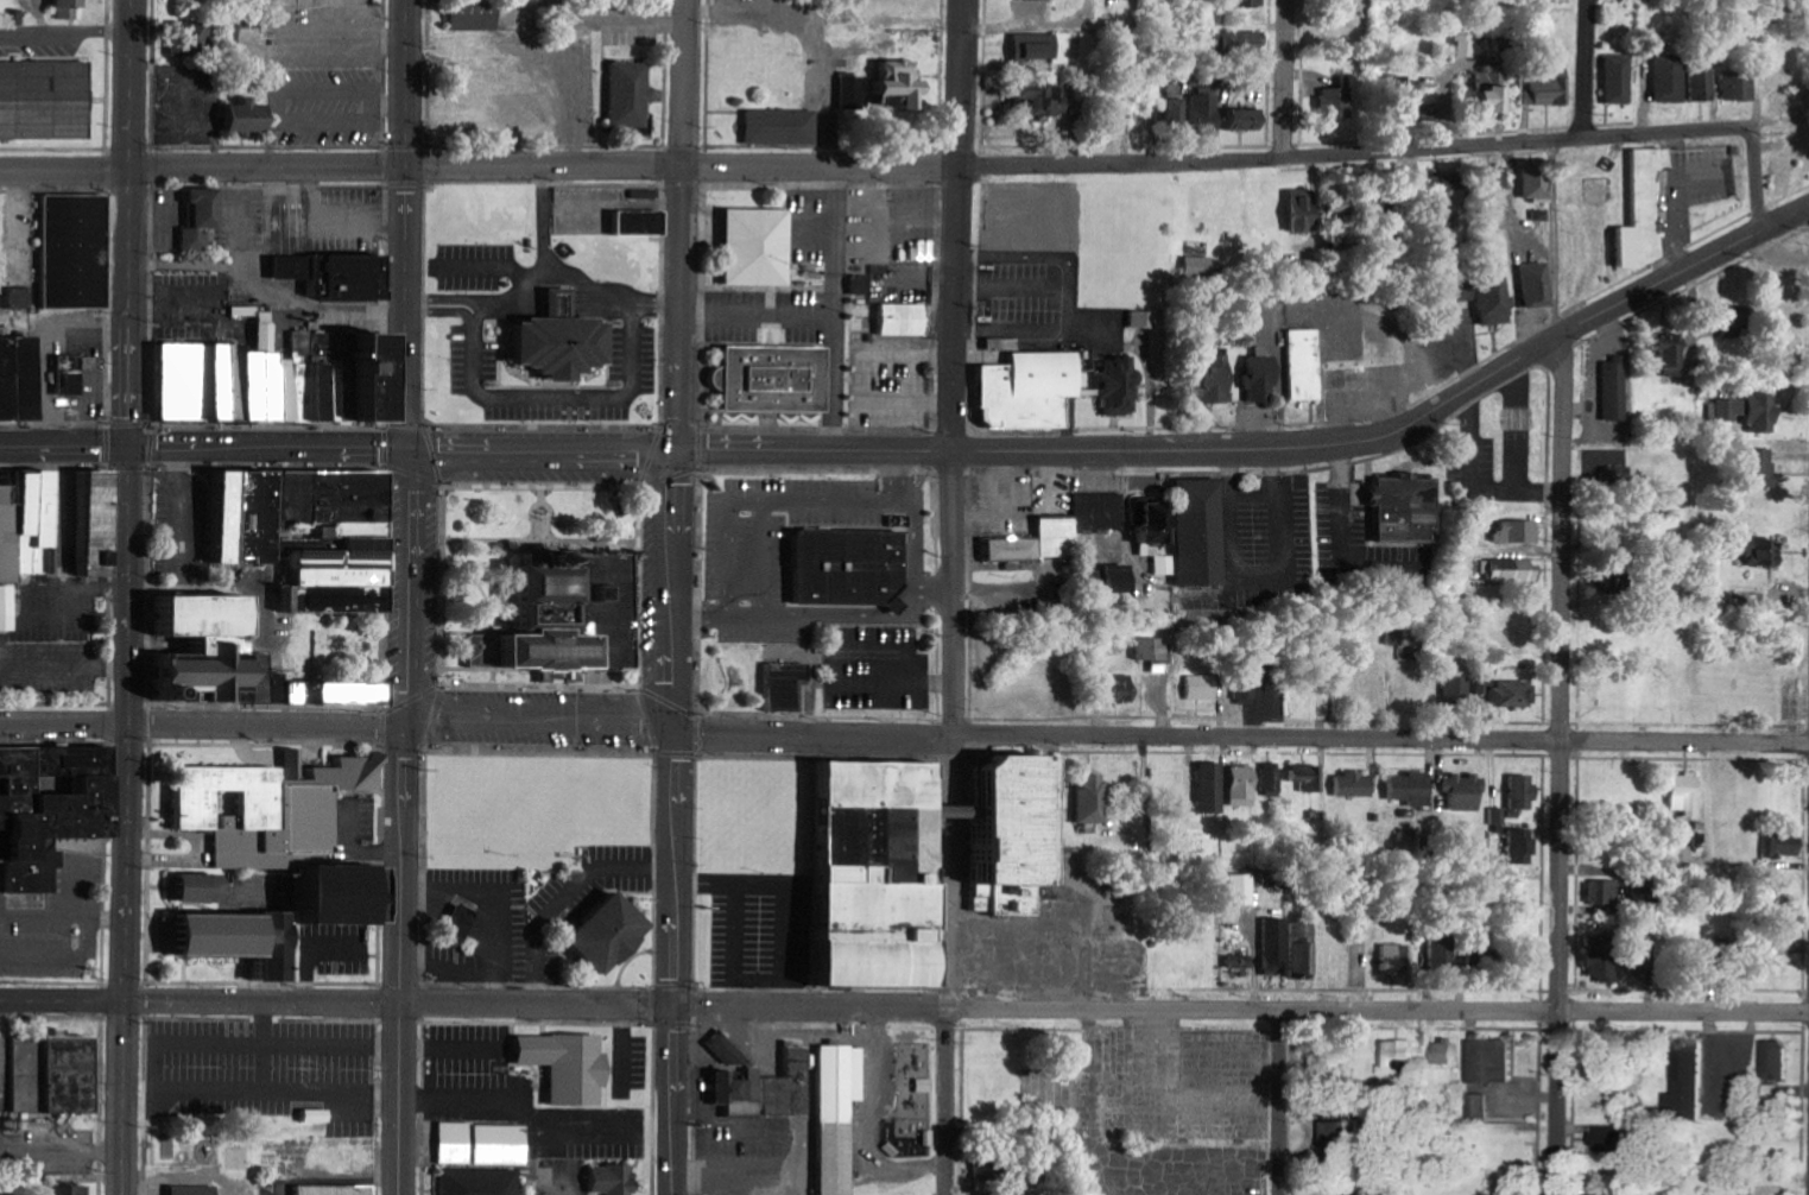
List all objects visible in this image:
building: (1546, 1)
building: (297, 4)
building: (69, 8)
building: (477, 14)
building: (190, 40)
building: (1245, 43)
building: (1036, 48)
road: (1588, 67)
road: (1285, 77)
building: (1670, 80)
building: (1619, 81)
building: (900, 86)
building: (1702, 86)
building: (1738, 88)
building: (852, 91)
building: (1551, 91)
building: (1494, 93)
building: (632, 95)
building: (1044, 100)
building: (44, 101)
building: (1339, 101)
building: (1792, 105)
building: (1207, 109)
building: (1177, 112)
building: (249, 119)
building: (1248, 120)
building: (782, 127)
building: (1805, 153)
road: (1082, 159)
road: (204, 169)
building: (1785, 170)
road: (1757, 177)
building: (1537, 184)
building: (1453, 198)
building: (1307, 211)
building: (1642, 213)
building: (198, 217)
road: (132, 223)
road: (409, 223)
road: (689, 223)
building: (643, 225)
road: (956, 225)
road: (1555, 235)
building: (755, 245)
building: (71, 249)
building: (1200, 267)
building: (331, 273)
building: (1536, 286)
building: (24, 298)
building: (1488, 298)
building: (905, 320)
building: (1143, 321)
building: (556, 344)
building: (1670, 354)
building: (1304, 366)
building: (67, 374)
gas station: (67, 374)
building: (771, 375)
building: (14, 378)
building: (1215, 378)
building: (271, 380)
building: (1260, 380)
building: (1120, 387)
building: (1032, 392)
building: (1615, 392)
building: (1750, 412)
road: (268, 444)
road: (64, 445)
road: (542, 448)
road: (1272, 451)
building: (1761, 469)
building: (1405, 508)
building: (239, 518)
building: (23, 523)
building: (1080, 523)
building: (91, 524)
building: (1189, 530)
building: (1519, 531)
building: (329, 542)
building: (1014, 548)
building: (1760, 552)
building: (1162, 564)
building: (852, 567)
building: (1514, 570)
building: (1118, 578)
building: (7, 607)
building: (568, 613)
building: (1393, 637)
building: (221, 649)
building: (1410, 651)
building: (1155, 653)
building: (788, 685)
building: (1201, 687)
building: (1122, 689)
building: (1246, 690)
building: (1457, 690)
building: (339, 691)
building: (1506, 691)
road: (202, 722)
road: (125, 723)
road: (1105, 733)
road: (1564, 764)
building: (1273, 778)
building: (1349, 784)
building: (1311, 785)
building: (1244, 786)
building: (1214, 788)
building: (1413, 789)
building: (1463, 792)
building: (1523, 792)
building: (1689, 795)
building: (1094, 798)
building: (52, 807)
building: (271, 808)
building: (1498, 816)
road: (404, 821)
road: (676, 821)
road: (950, 822)
building: (1522, 847)
building: (1786, 847)
building: (885, 873)
building: (176, 887)
building: (201, 889)
building: (1244, 890)
building: (1607, 892)
building: (341, 893)
building: (462, 922)
building: (613, 934)
building: (245, 940)
building: (1276, 947)
building: (1303, 950)
building: (1444, 953)
building: (1489, 956)
building: (1604, 959)
building: (1242, 960)
building: (1398, 960)
building: (1643, 965)
road: (265, 1000)
road: (62, 1001)
road: (1107, 1006)
building: (728, 1051)
building: (1446, 1054)
building: (1402, 1057)
building: (1777, 1060)
building: (1491, 1061)
building: (570, 1066)
building: (55, 1074)
building: (770, 1089)
building: (1690, 1093)
road: (121, 1098)
road: (1279, 1101)
building: (1476, 1106)
building: (841, 1114)
building: (1347, 1137)
building: (1617, 1139)
building: (485, 1144)
building: (988, 1170)
building: (614, 1180)
building: (481, 1182)
building: (336, 1189)
building: (70, 1190)
building: (195, 1190)

